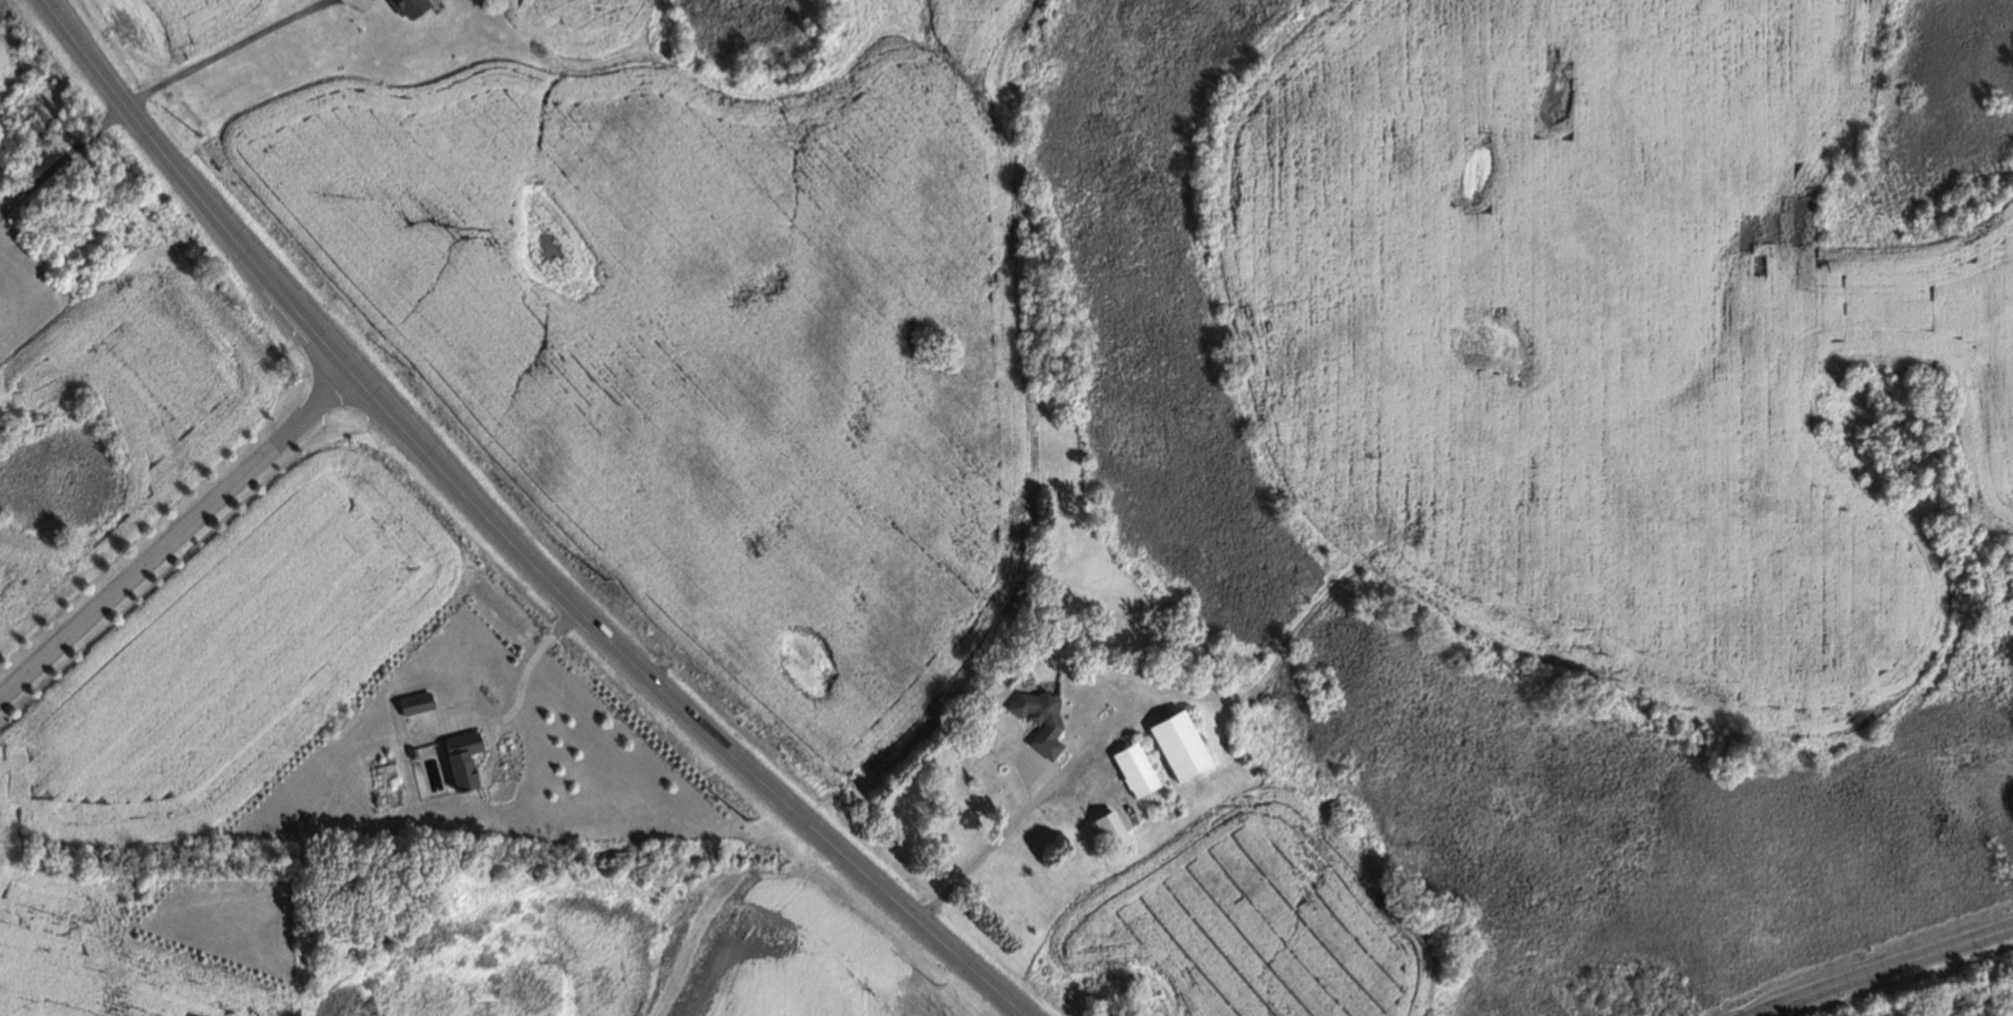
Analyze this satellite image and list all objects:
building: (405, 6)
road: (223, 50)
power tower: (193, 129)
road: (61, 156)
road: (175, 529)
road: (507, 536)
road: (528, 660)
building: (407, 699)
building: (1048, 725)
building: (1179, 747)
building: (409, 749)
building: (455, 755)
building: (1134, 771)
building: (1107, 832)
road: (998, 841)
road: (1884, 969)

